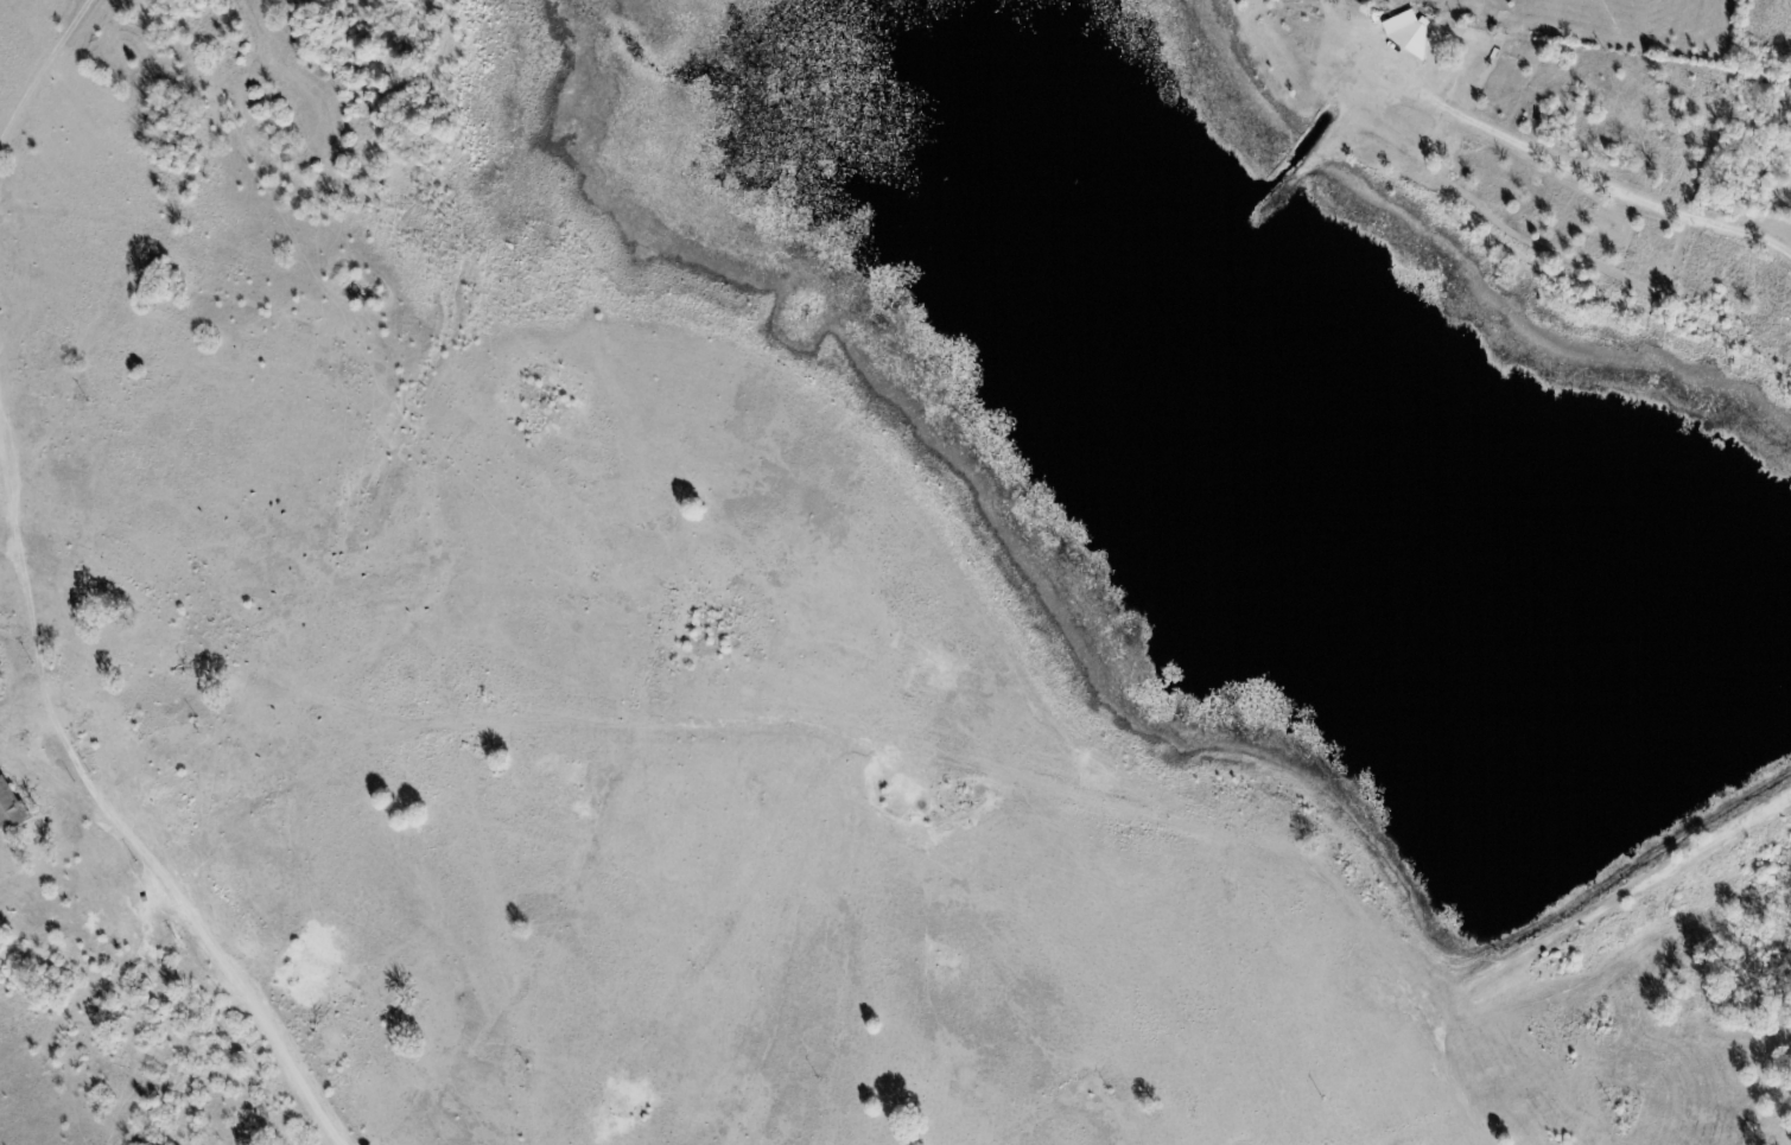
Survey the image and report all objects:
road: (1541, 152)
building: (13, 809)
road: (233, 966)

